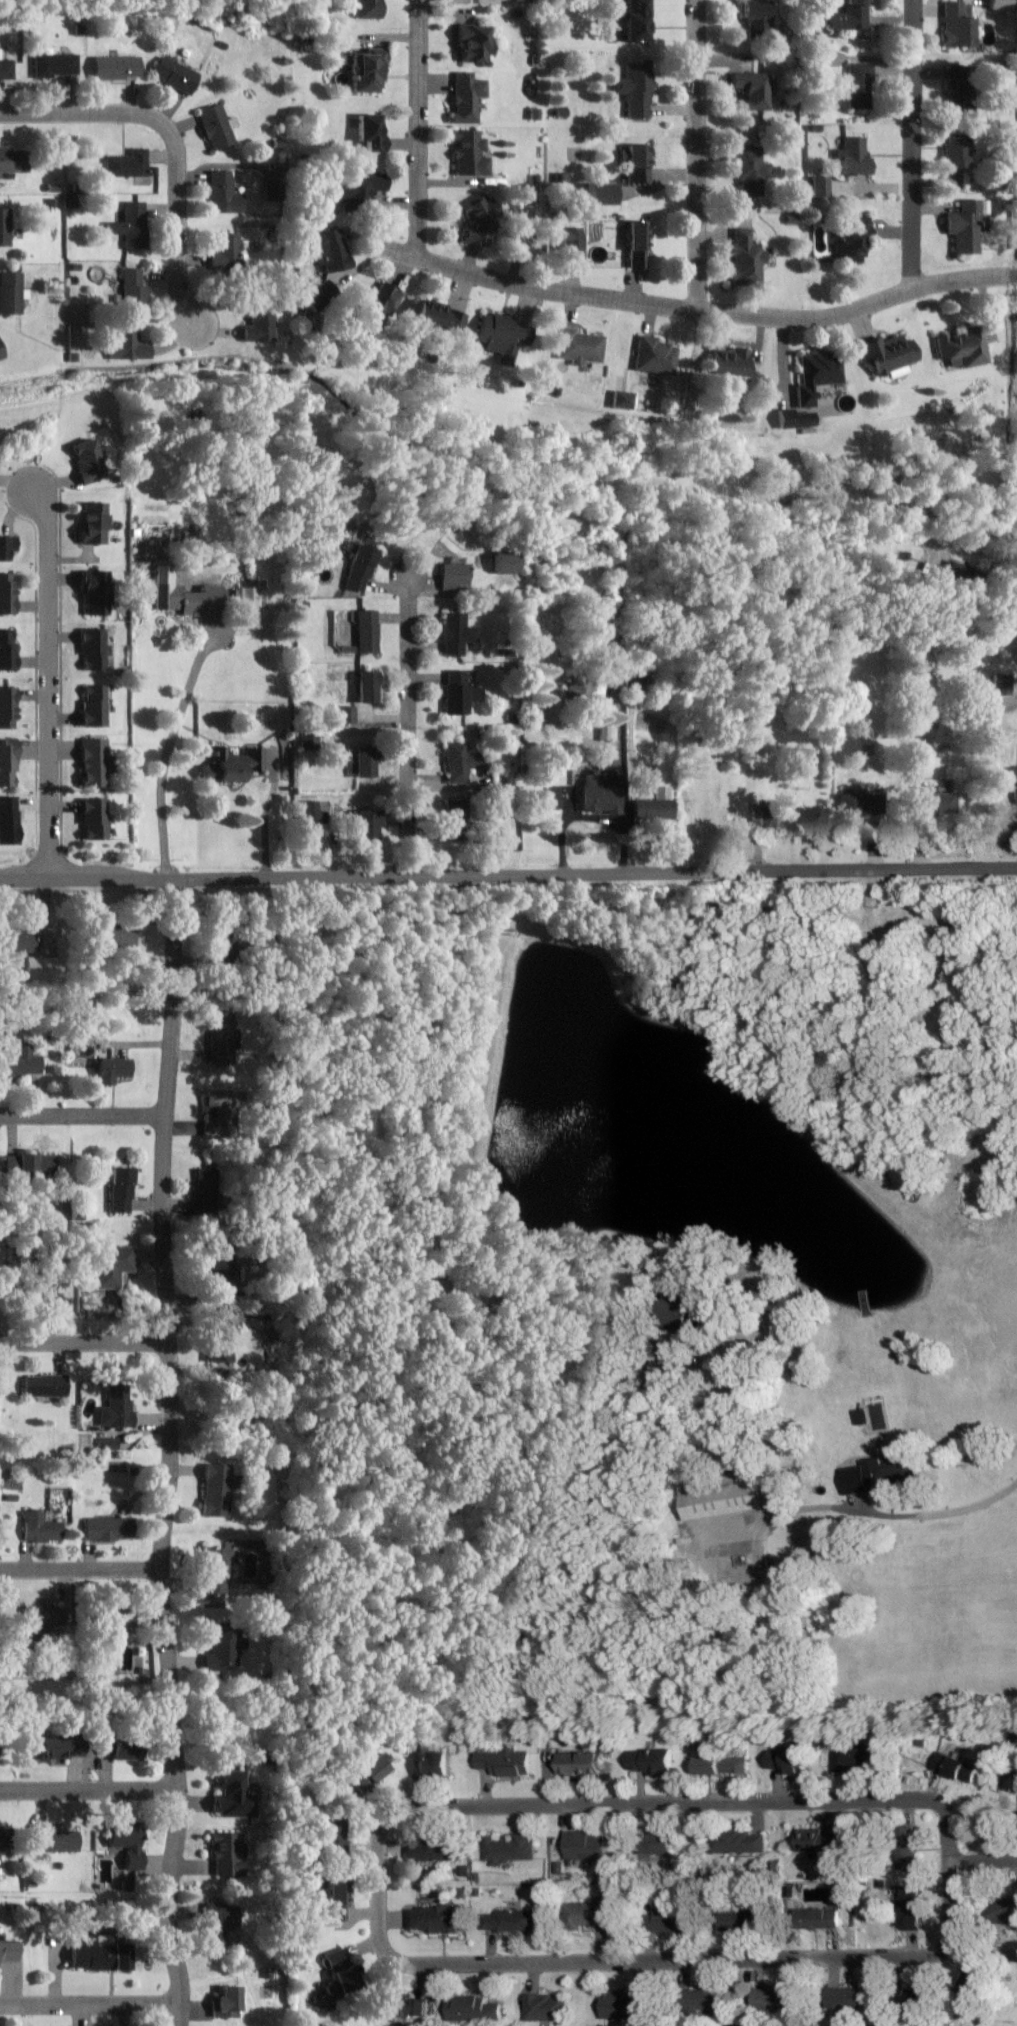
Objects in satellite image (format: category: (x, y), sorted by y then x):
building: (999, 4)
building: (366, 9)
building: (850, 16)
building: (756, 17)
building: (637, 21)
building: (957, 24)
building: (473, 42)
building: (56, 64)
building: (116, 66)
building: (6, 68)
building: (366, 70)
building: (174, 73)
building: (957, 80)
building: (859, 85)
building: (753, 88)
building: (635, 89)
building: (467, 96)
road: (85, 111)
building: (215, 125)
road: (419, 128)
building: (368, 131)
road: (911, 143)
building: (955, 149)
building: (470, 153)
road: (698, 154)
building: (852, 155)
building: (13, 160)
building: (637, 162)
building: (127, 163)
building: (751, 168)
building: (821, 185)
building: (357, 189)
building: (223, 192)
building: (598, 193)
building: (480, 218)
building: (966, 224)
building: (131, 225)
road: (180, 225)
building: (5, 227)
building: (637, 243)
building: (569, 244)
building: (332, 249)
building: (227, 250)
building: (745, 256)
building: (133, 291)
building: (10, 292)
building: (374, 303)
road: (698, 308)
building: (437, 316)
building: (259, 324)
building: (501, 335)
building: (963, 345)
building: (128, 346)
building: (580, 346)
building: (1, 352)
building: (887, 354)
building: (654, 355)
building: (729, 362)
building: (817, 374)
building: (622, 399)
building: (795, 417)
building: (86, 462)
building: (92, 523)
building: (7, 546)
road: (977, 549)
building: (500, 563)
building: (360, 568)
building: (451, 574)
building: (93, 592)
building: (8, 593)
building: (185, 594)
building: (248, 596)
building: (366, 631)
building: (455, 633)
building: (93, 647)
building: (7, 649)
road: (48, 678)
building: (636, 683)
building: (1003, 684)
building: (366, 686)
building: (593, 687)
building: (459, 691)
building: (93, 706)
building: (7, 707)
building: (346, 714)
road: (410, 723)
building: (909, 731)
road: (172, 746)
building: (457, 761)
building: (7, 762)
building: (94, 762)
building: (364, 762)
building: (230, 764)
road: (622, 778)
building: (1008, 779)
building: (596, 791)
building: (549, 799)
building: (935, 802)
building: (855, 803)
building: (655, 805)
building: (309, 814)
road: (267, 816)
building: (93, 817)
building: (767, 817)
building: (7, 820)
building: (453, 820)
building: (367, 825)
road: (508, 870)
building: (118, 936)
building: (17, 940)
building: (40, 968)
building: (224, 1038)
building: (20, 1062)
building: (109, 1066)
building: (223, 1114)
road: (83, 1116)
building: (35, 1163)
building: (10, 1165)
building: (119, 1188)
building: (208, 1190)
building: (220, 1259)
building: (110, 1265)
building: (35, 1293)
building: (678, 1311)
building: (220, 1339)
road: (84, 1342)
building: (45, 1385)
building: (116, 1407)
building: (861, 1416)
building: (108, 1443)
road: (172, 1450)
building: (878, 1475)
building: (217, 1489)
building: (722, 1496)
road: (865, 1511)
building: (40, 1528)
building: (105, 1529)
road: (80, 1568)
building: (215, 1571)
building: (115, 1616)
building: (44, 1618)
building: (228, 1647)
building: (53, 1750)
building: (114, 1750)
building: (856, 1758)
building: (787, 1760)
building: (505, 1761)
building: (652, 1761)
building: (580, 1763)
building: (434, 1764)
building: (721, 1765)
building: (953, 1768)
building: (372, 1769)
road: (88, 1791)
building: (232, 1796)
road: (659, 1802)
building: (329, 1827)
building: (54, 1840)
building: (123, 1840)
building: (816, 1840)
building: (742, 1841)
building: (584, 1845)
building: (655, 1846)
building: (907, 1846)
building: (508, 1848)
building: (433, 1849)
building: (224, 1853)
road: (983, 1859)
building: (465, 1870)
building: (335, 1898)
building: (909, 1907)
building: (1004, 1909)
building: (587, 1914)
building: (817, 1917)
building: (434, 1918)
building: (665, 1919)
building: (510, 1920)
building: (738, 1920)
building: (218, 1922)
building: (7, 1950)
building: (98, 1955)
road: (672, 1958)
building: (337, 1972)
building: (771, 1997)
building: (845, 1997)
building: (700, 1999)
building: (226, 2001)
building: (908, 2001)
road: (90, 2002)
building: (622, 2004)
building: (399, 2005)
building: (542, 2006)
building: (475, 2007)

